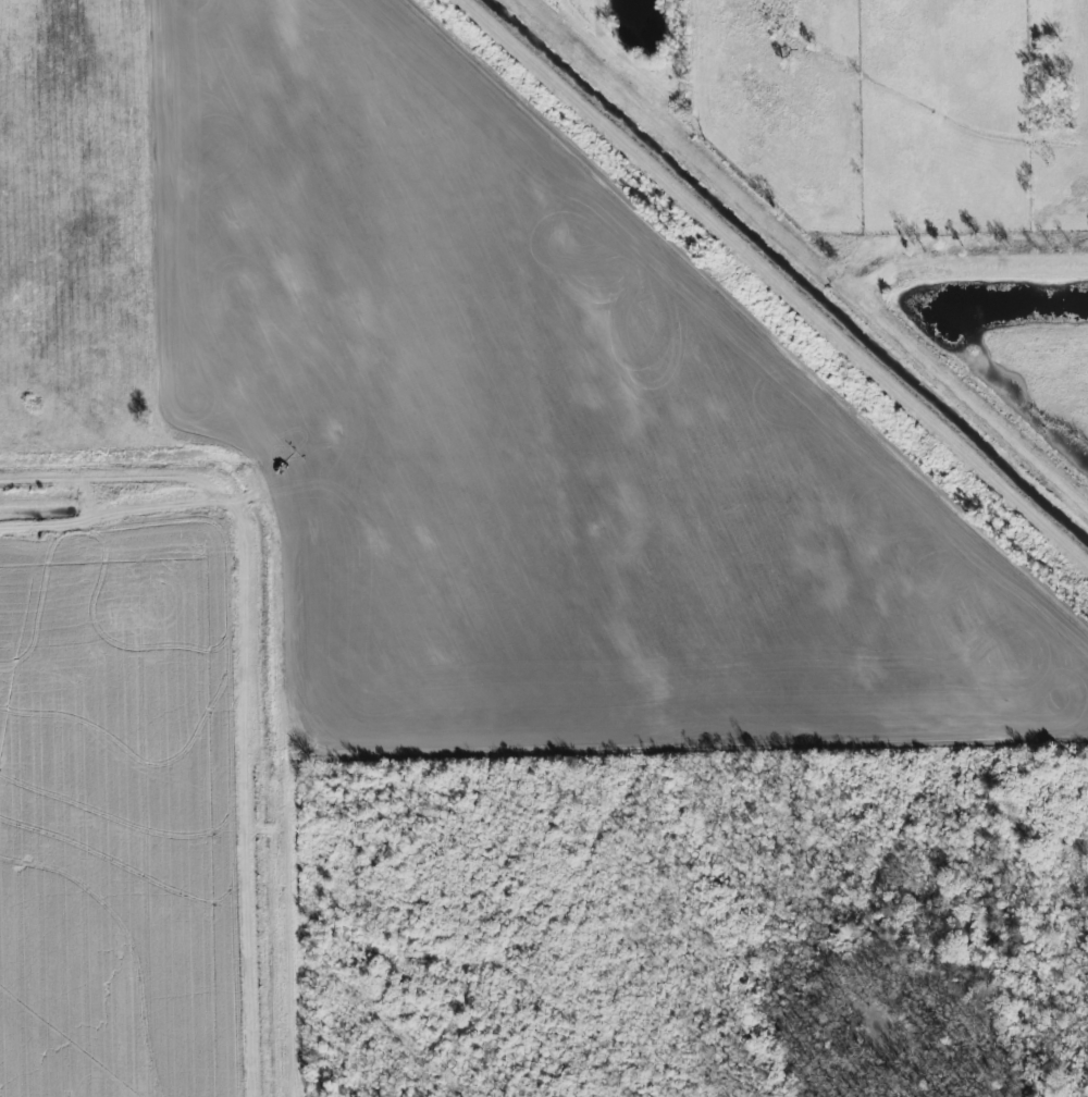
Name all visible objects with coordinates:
road: (807, 252)
road: (778, 280)

